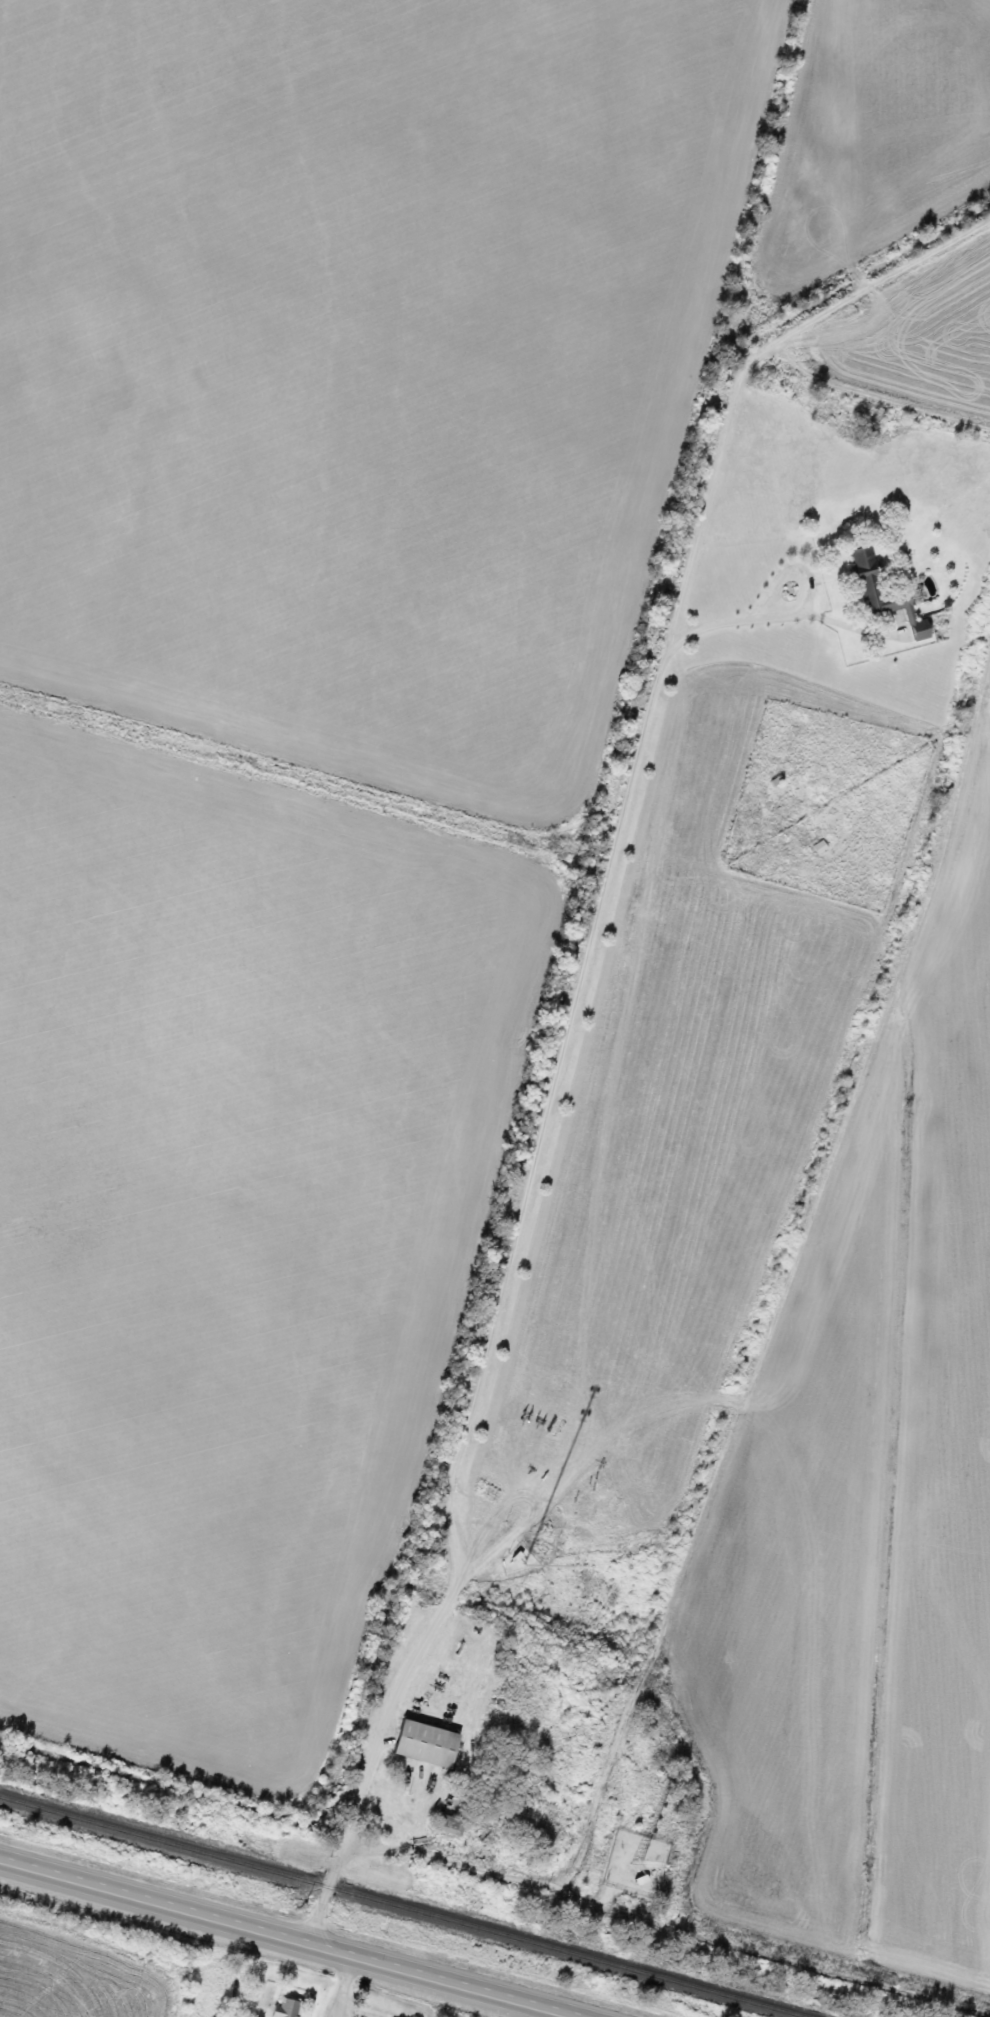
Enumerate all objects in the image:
building: (864, 571)
road: (788, 620)
road: (579, 975)
building: (423, 1744)
road: (470, 1864)
road: (320, 1890)
railway: (397, 1908)
road: (292, 1937)
building: (285, 2008)

